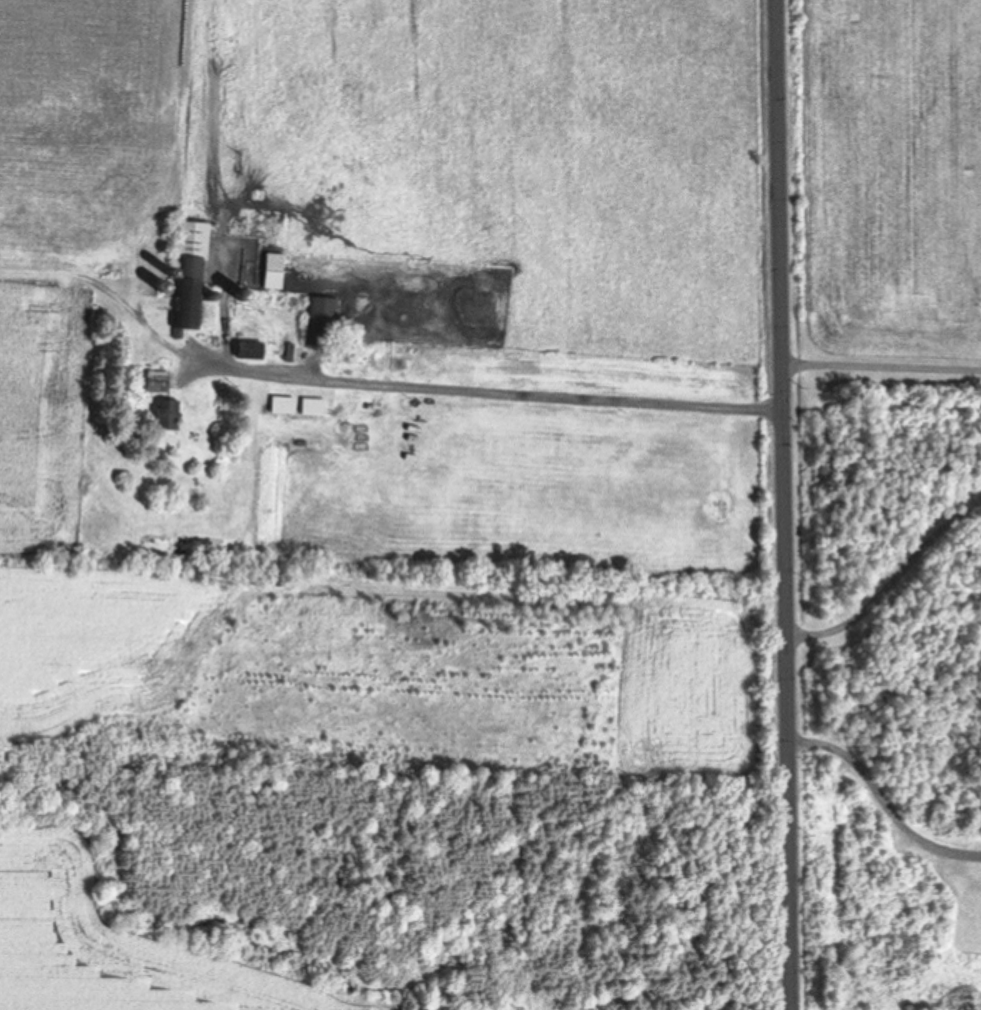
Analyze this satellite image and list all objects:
building: (188, 239)
building: (270, 271)
building: (190, 308)
road: (879, 367)
building: (153, 381)
road: (484, 392)
building: (279, 404)
building: (309, 406)
road: (780, 505)
road: (890, 582)
road: (880, 800)

